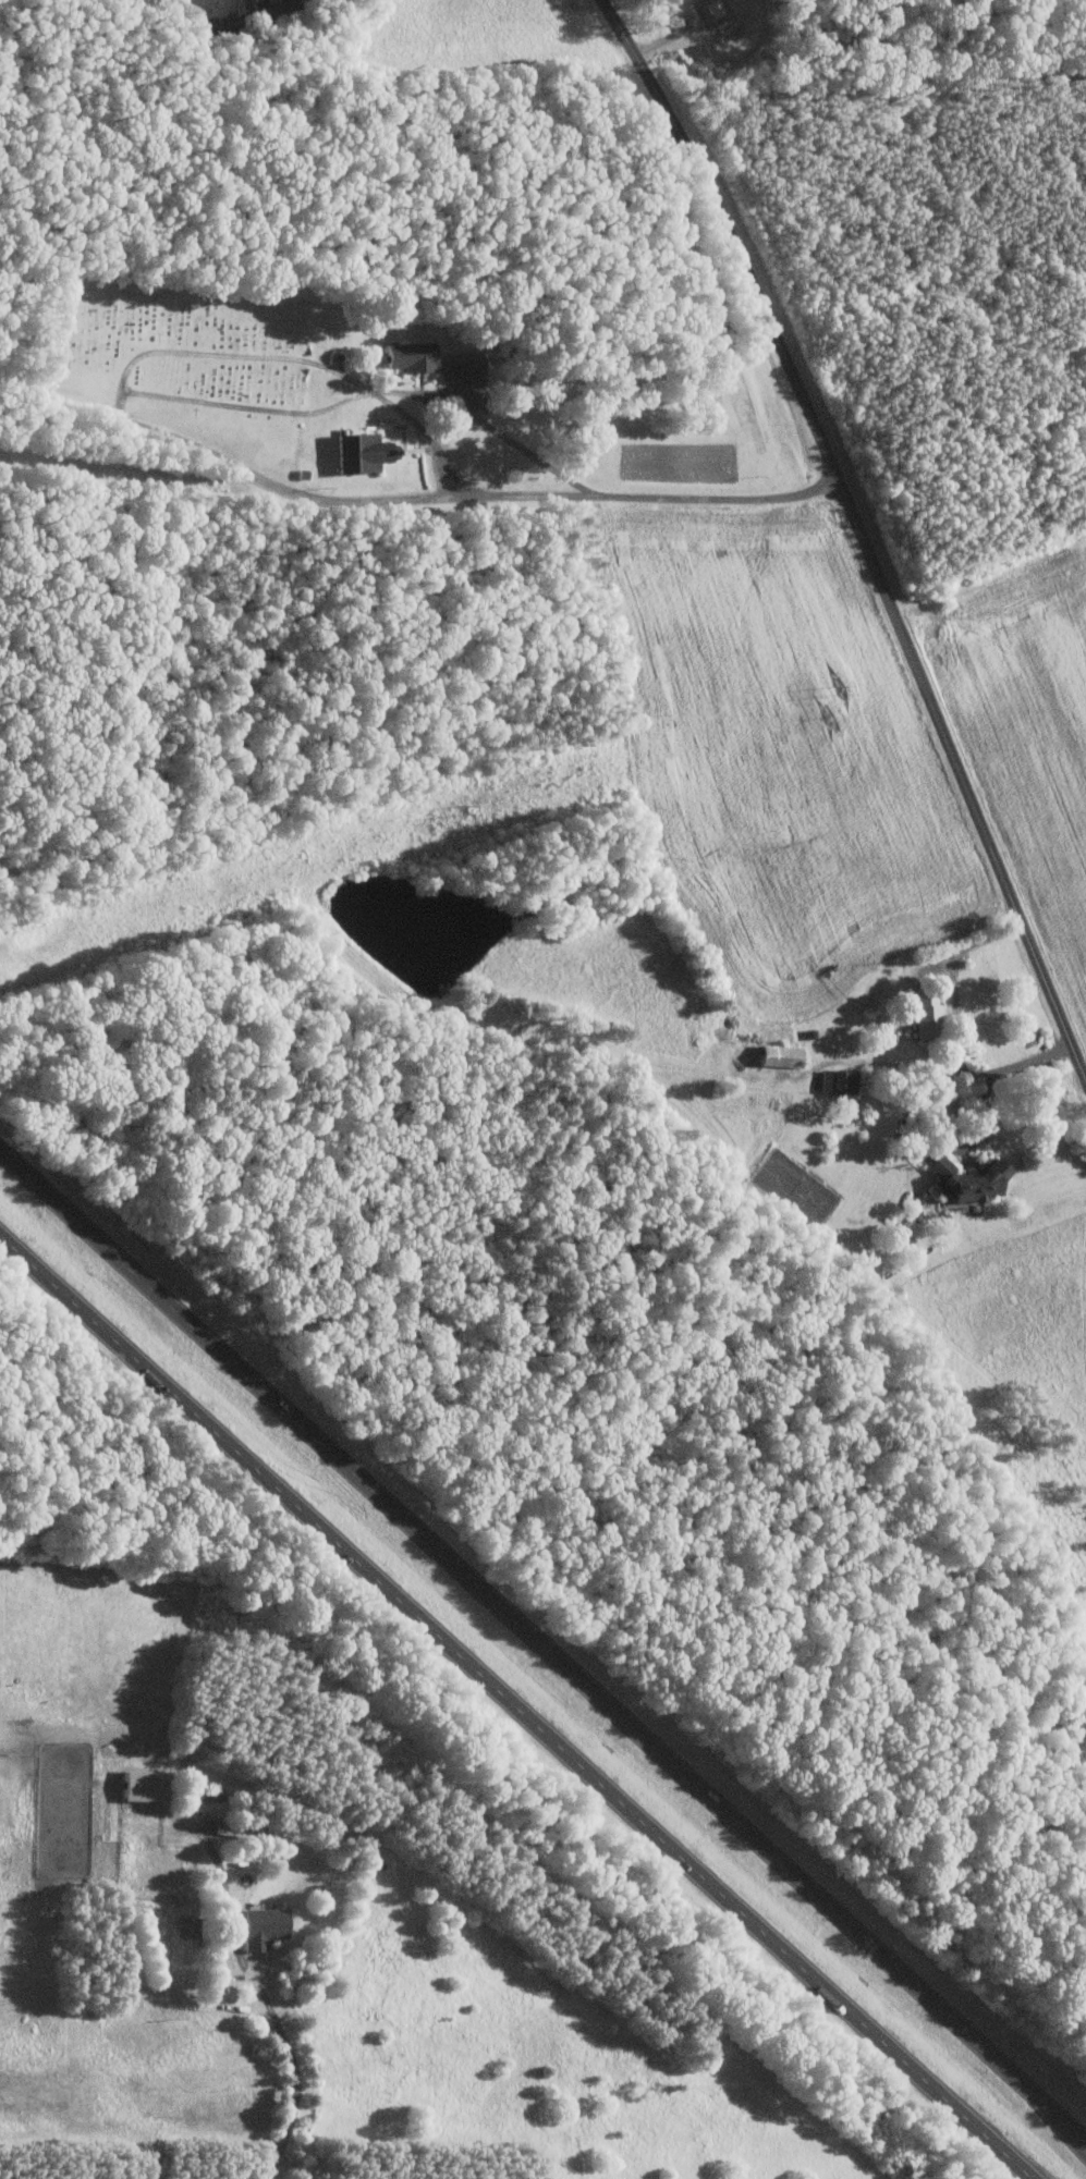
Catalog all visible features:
building: (712, 7)
building: (410, 355)
road: (294, 358)
road: (365, 393)
building: (362, 451)
road: (410, 493)
road: (859, 527)
building: (926, 1015)
road: (957, 1032)
building: (779, 1055)
building: (838, 1081)
road: (956, 1144)
building: (966, 1180)
road: (542, 1639)
road: (516, 1709)
building: (143, 1784)
building: (205, 1792)
road: (224, 1895)
building: (186, 1925)
building: (261, 1925)
road: (294, 2078)

